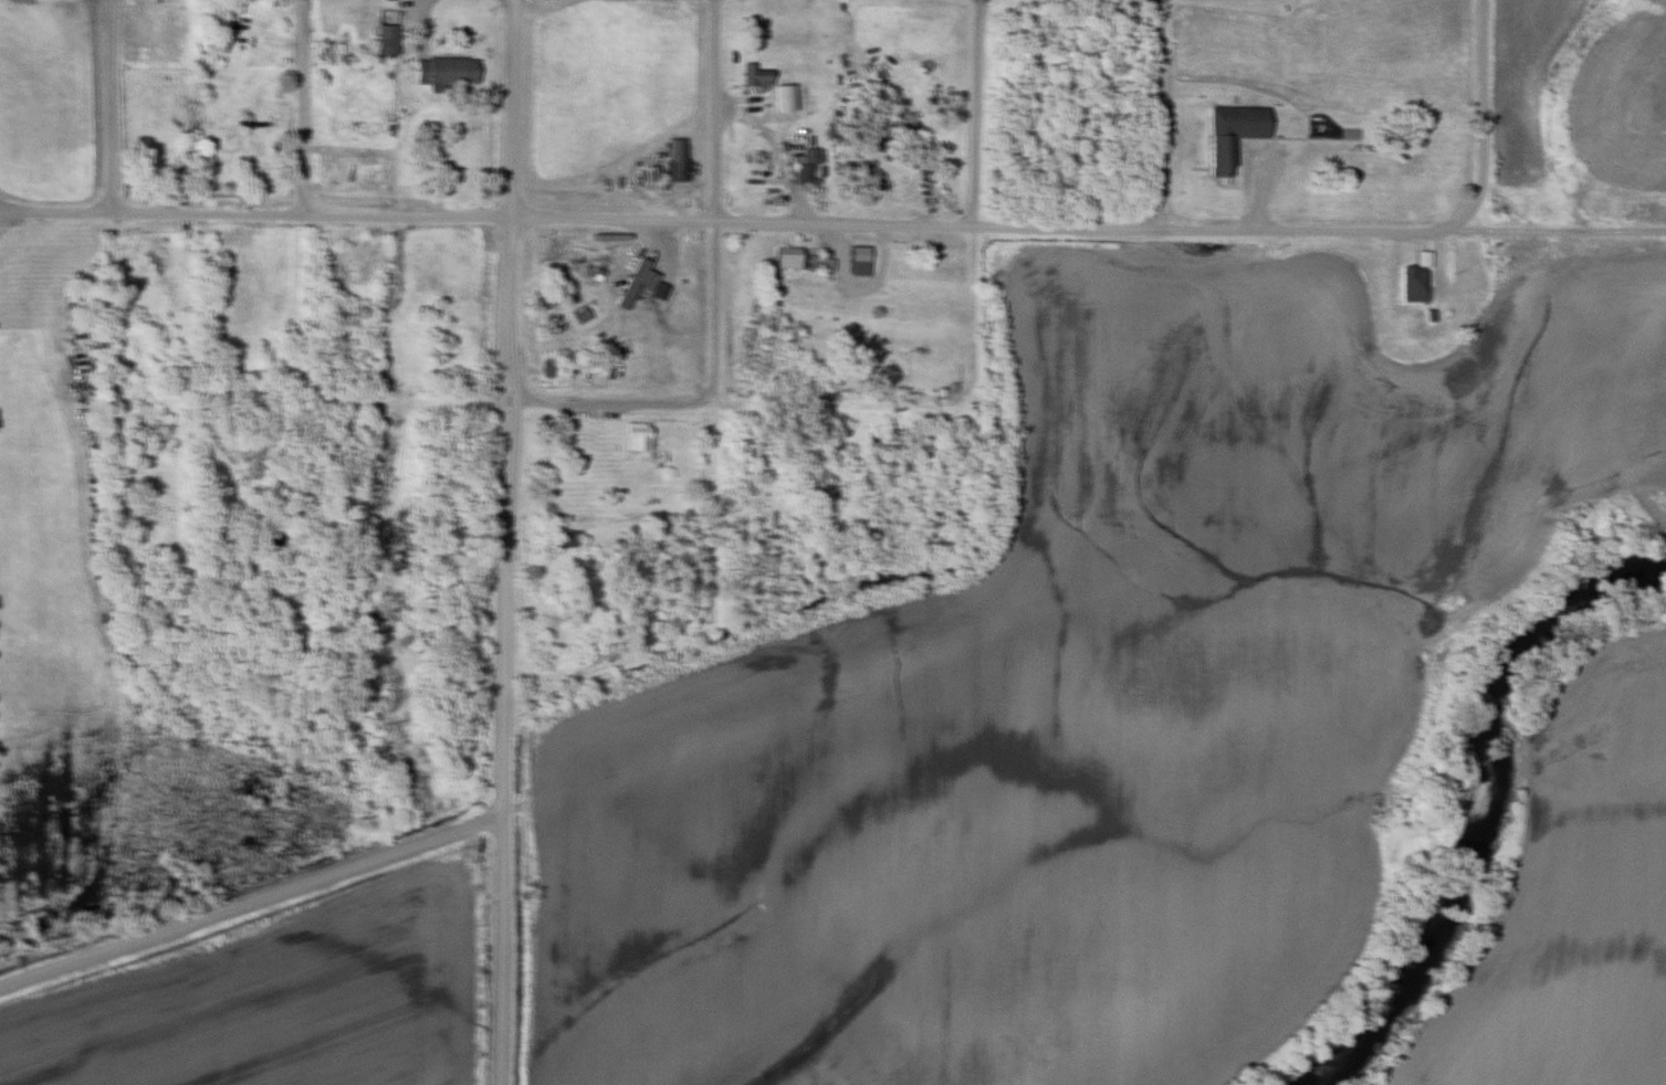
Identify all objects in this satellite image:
building: (383, 41)
building: (439, 73)
building: (750, 77)
road: (302, 105)
road: (108, 106)
road: (1165, 114)
road: (1490, 124)
building: (1228, 136)
building: (795, 172)
road: (723, 202)
road: (978, 206)
road: (724, 221)
building: (853, 257)
building: (780, 260)
building: (819, 267)
building: (628, 286)
building: (1407, 287)
building: (892, 366)
road: (740, 404)
building: (631, 439)
building: (922, 446)
road: (503, 541)
road: (250, 902)

